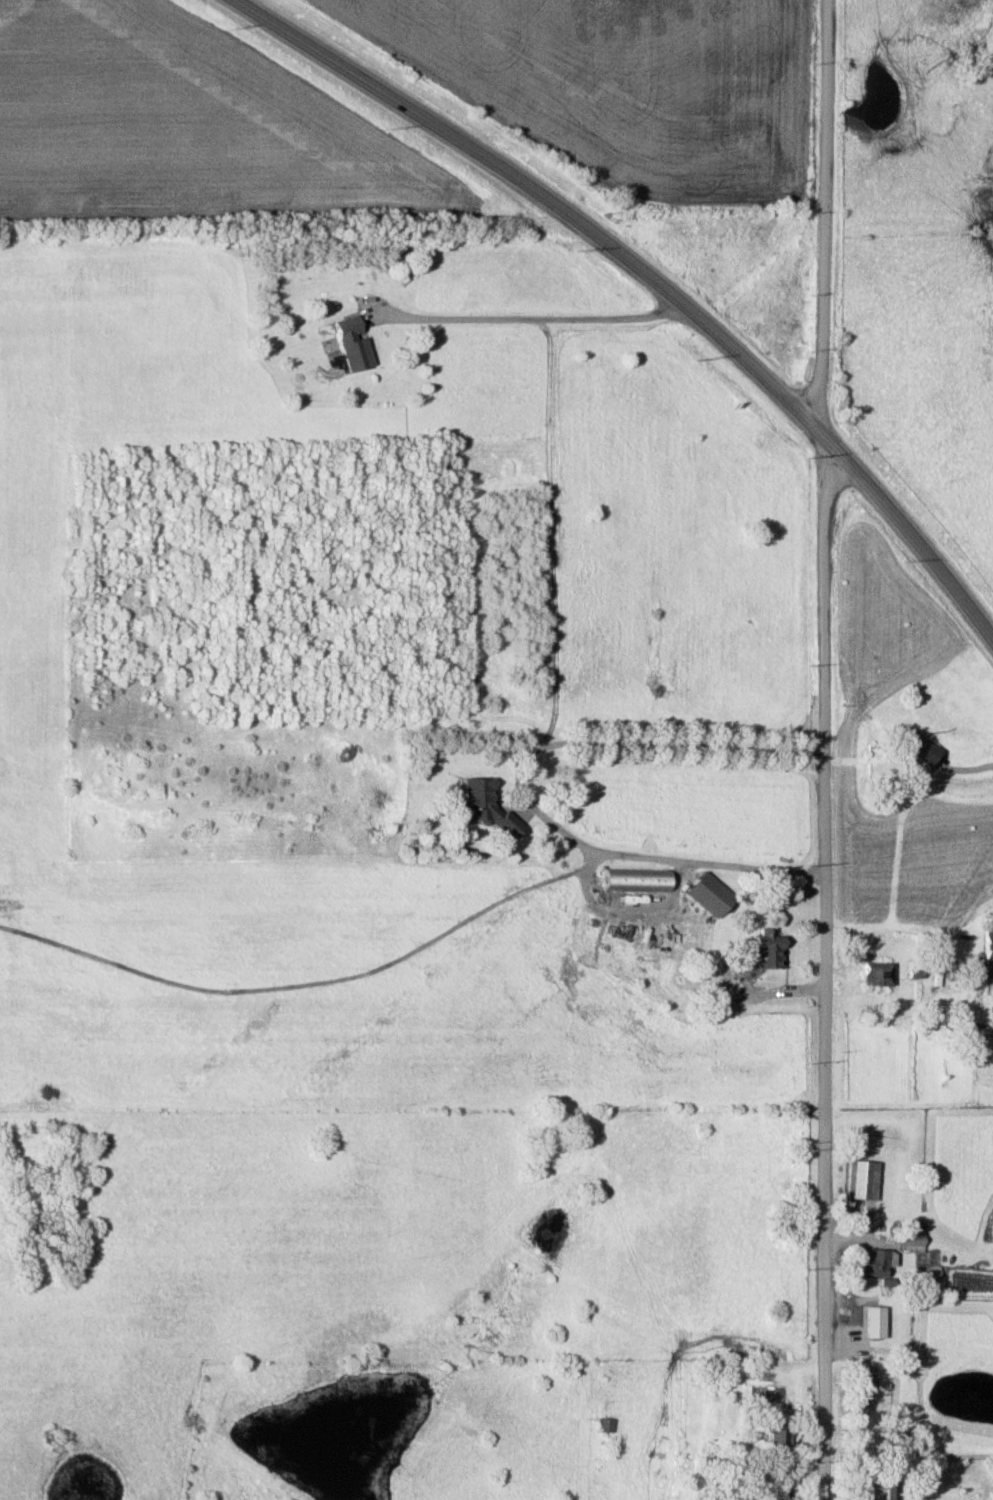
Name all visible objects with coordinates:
road: (909, 114)
road: (833, 220)
road: (651, 274)
road: (528, 320)
building: (348, 343)
road: (610, 742)
building: (916, 747)
road: (965, 771)
building: (486, 806)
building: (635, 879)
building: (706, 895)
road: (902, 926)
building: (986, 946)
building: (763, 950)
road: (418, 953)
road: (827, 969)
building: (871, 975)
building: (991, 1016)
road: (679, 1043)
building: (861, 1180)
building: (909, 1239)
building: (869, 1263)
building: (869, 1323)
building: (857, 1388)
building: (606, 1425)
building: (772, 1437)
building: (873, 1489)

